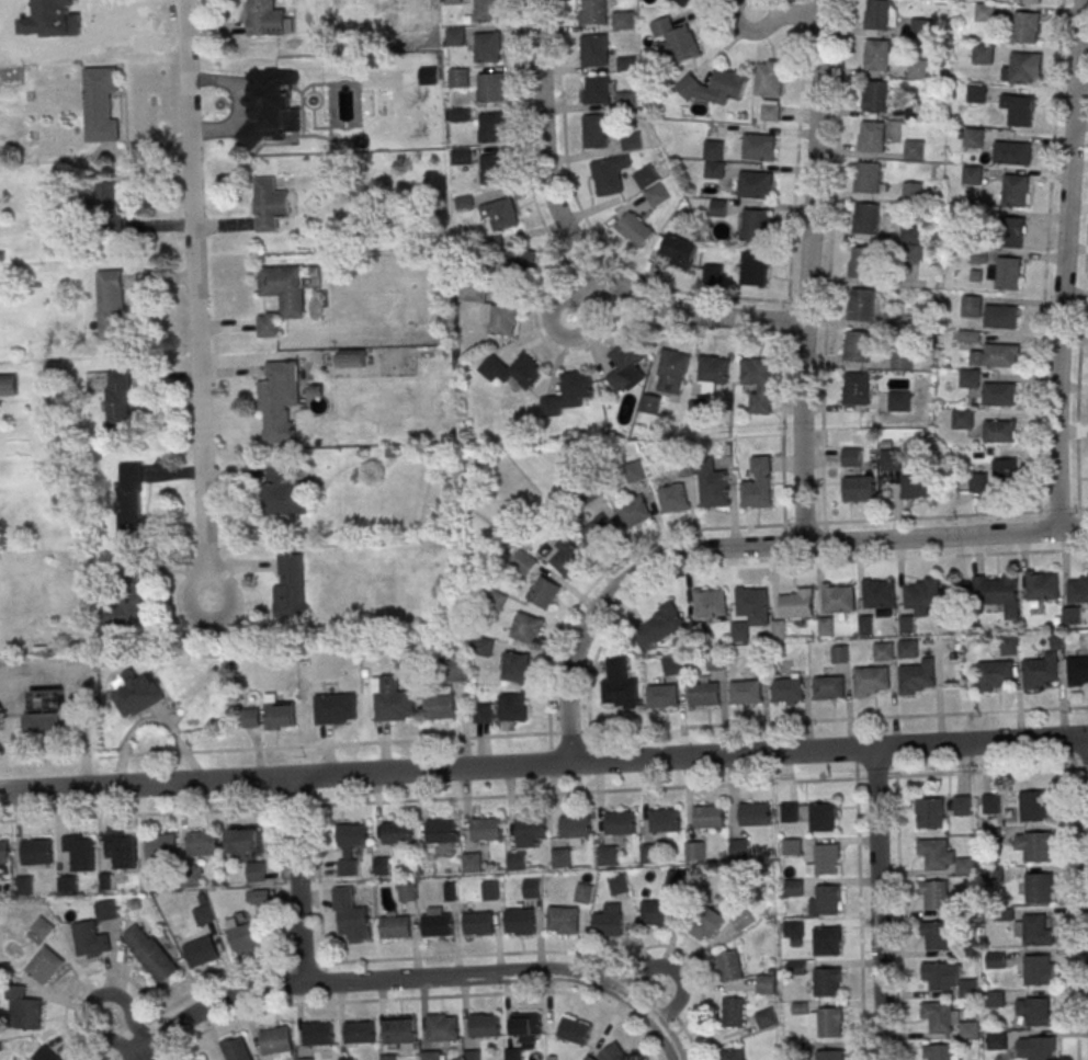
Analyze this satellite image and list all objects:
building: (452, 1)
building: (682, 1)
building: (1028, 1)
building: (488, 10)
building: (593, 11)
building: (985, 12)
building: (879, 14)
road: (787, 16)
building: (265, 18)
building: (624, 20)
building: (95, 21)
building: (1027, 26)
building: (921, 29)
building: (455, 36)
building: (675, 39)
building: (488, 46)
building: (597, 49)
building: (983, 53)
building: (877, 55)
building: (1024, 67)
building: (918, 69)
building: (458, 77)
building: (768, 77)
building: (491, 87)
building: (715, 87)
building: (599, 90)
building: (977, 93)
building: (876, 95)
building: (626, 98)
building: (101, 103)
building: (269, 104)
building: (770, 110)
building: (1021, 110)
building: (460, 114)
building: (492, 126)
building: (596, 130)
building: (872, 136)
building: (974, 137)
building: (632, 140)
building: (758, 147)
building: (915, 149)
building: (1011, 152)
building: (460, 156)
building: (713, 159)
building: (492, 169)
building: (609, 174)
building: (973, 174)
building: (646, 176)
building: (868, 176)
building: (755, 184)
building: (1016, 190)
building: (913, 191)
building: (657, 194)
building: (107, 197)
building: (269, 204)
building: (716, 207)
building: (500, 214)
building: (866, 218)
building: (753, 226)
building: (635, 229)
building: (1011, 231)
building: (910, 233)
road: (574, 243)
building: (677, 250)
building: (521, 261)
building: (863, 261)
road: (1063, 264)
building: (753, 269)
road: (805, 272)
building: (1008, 272)
building: (712, 274)
road: (1043, 280)
building: (280, 295)
building: (467, 295)
road: (587, 297)
building: (112, 304)
building: (861, 305)
building: (972, 306)
road: (195, 310)
building: (1000, 317)
building: (499, 318)
building: (857, 345)
building: (996, 355)
building: (351, 360)
building: (900, 360)
building: (626, 366)
building: (512, 369)
building: (671, 371)
building: (711, 374)
building: (967, 378)
building: (757, 383)
building: (8, 384)
building: (854, 388)
building: (568, 392)
building: (998, 394)
building: (118, 398)
building: (277, 399)
building: (897, 400)
building: (649, 403)
building: (962, 419)
building: (998, 431)
building: (850, 456)
building: (888, 459)
building: (634, 470)
building: (1006, 471)
building: (978, 482)
building: (756, 483)
building: (916, 485)
building: (712, 486)
building: (859, 488)
building: (282, 492)
building: (672, 498)
building: (131, 500)
building: (634, 512)
building: (598, 531)
road: (751, 547)
building: (566, 557)
road: (831, 561)
building: (522, 562)
building: (1041, 585)
building: (291, 586)
building: (1077, 588)
building: (543, 592)
building: (997, 592)
building: (877, 593)
building: (925, 594)
building: (710, 602)
building: (794, 603)
building: (124, 609)
building: (1073, 615)
building: (868, 624)
building: (907, 624)
building: (826, 625)
building: (658, 626)
building: (526, 627)
building: (740, 630)
building: (1009, 645)
building: (483, 646)
building: (908, 649)
building: (885, 650)
building: (840, 653)
building: (758, 659)
building: (716, 660)
building: (671, 664)
building: (515, 666)
building: (455, 670)
building: (1077, 670)
building: (1039, 672)
building: (995, 674)
building: (916, 676)
building: (870, 680)
building: (619, 685)
building: (828, 686)
building: (786, 689)
building: (745, 692)
building: (136, 693)
building: (703, 693)
building: (661, 695)
building: (392, 699)
building: (440, 705)
building: (512, 706)
building: (335, 708)
building: (47, 711)
building: (277, 713)
building: (483, 713)
building: (250, 715)
road: (648, 728)
road: (543, 764)
road: (690, 785)
road: (292, 791)
building: (990, 803)
building: (962, 805)
building: (1034, 806)
building: (790, 811)
building: (929, 812)
road: (146, 813)
building: (753, 813)
building: (709, 816)
building: (819, 817)
building: (665, 820)
building: (620, 822)
building: (575, 825)
building: (531, 828)
building: (486, 829)
building: (441, 830)
building: (397, 832)
building: (991, 836)
building: (242, 841)
building: (202, 842)
building: (160, 845)
building: (1034, 845)
building: (350, 846)
building: (793, 846)
building: (120, 847)
building: (740, 847)
building: (695, 850)
building: (35, 851)
building: (78, 851)
building: (653, 853)
building: (608, 854)
building: (3, 856)
building: (562, 857)
building: (825, 859)
building: (473, 862)
building: (518, 862)
building: (383, 866)
building: (965, 866)
building: (256, 870)
building: (147, 877)
building: (66, 882)
building: (617, 884)
building: (23, 885)
building: (794, 887)
building: (532, 888)
building: (1038, 888)
building: (492, 890)
building: (451, 891)
building: (408, 892)
building: (582, 892)
road: (298, 894)
building: (933, 894)
building: (258, 897)
building: (825, 900)
road: (880, 902)
building: (656, 912)
road: (1074, 913)
building: (202, 914)
building: (349, 914)
road: (900, 917)
road: (860, 919)
building: (563, 920)
building: (743, 920)
building: (520, 921)
building: (608, 921)
building: (478, 923)
building: (438, 924)
building: (706, 925)
building: (395, 926)
building: (42, 927)
building: (795, 927)
building: (1033, 930)
building: (243, 935)
building: (934, 935)
building: (90, 939)
building: (825, 942)
building: (967, 947)
building: (201, 951)
building: (149, 953)
road: (413, 957)
building: (996, 959)
building: (44, 965)
building: (729, 966)
road: (672, 969)
building: (1039, 969)
road: (405, 979)
building: (826, 982)
building: (766, 983)
road: (605, 985)
building: (968, 988)
road: (417, 998)
building: (995, 999)
road: (90, 1000)
road: (213, 1004)
building: (22, 1010)
building: (1034, 1011)
building: (733, 1012)
building: (939, 1016)
building: (766, 1018)
building: (525, 1023)
building: (829, 1023)
building: (484, 1025)
building: (443, 1028)
building: (574, 1029)
building: (401, 1030)
building: (359, 1031)
building: (317, 1033)
building: (996, 1040)
building: (274, 1041)
building: (235, 1048)
building: (1040, 1048)
building: (614, 1052)
building: (939, 1052)
building: (512, 1053)
building: (44, 1055)
building: (430, 1055)
building: (732, 1055)
building: (829, 1055)
building: (387, 1057)
building: (199, 1059)
building: (305, 1059)
building: (345, 1059)

